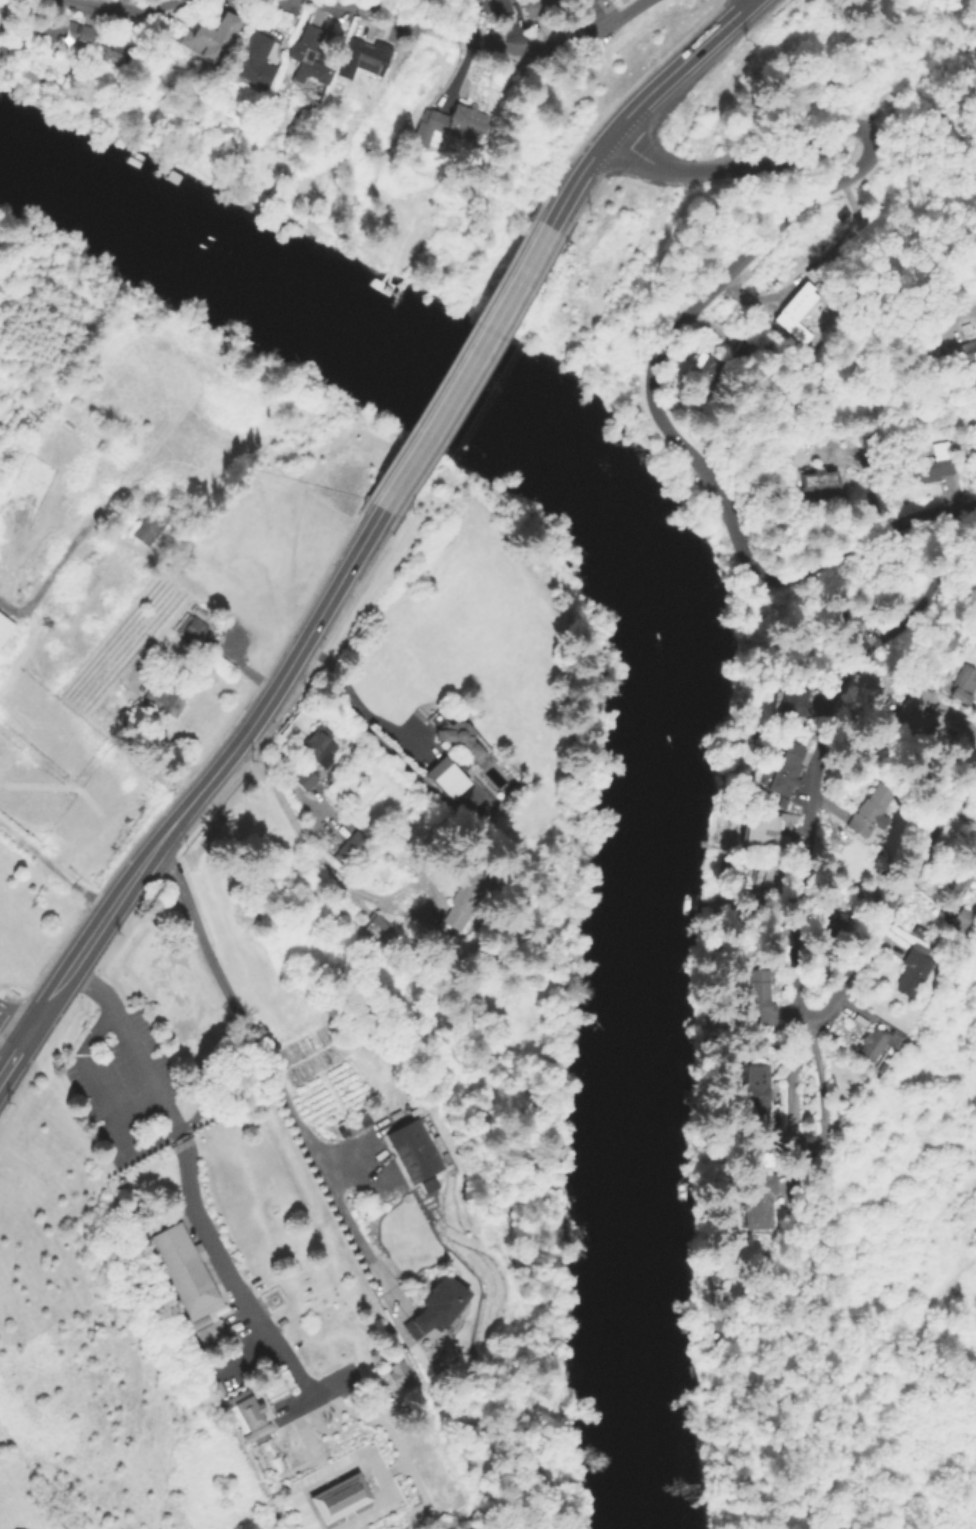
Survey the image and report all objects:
building: (474, 1)
building: (594, 1)
building: (537, 7)
building: (500, 8)
road: (124, 9)
road: (745, 9)
building: (62, 29)
building: (208, 36)
road: (487, 42)
building: (112, 52)
building: (369, 57)
building: (311, 58)
building: (254, 61)
road: (661, 85)
building: (454, 126)
road: (574, 187)
river: (290, 277)
building: (793, 313)
road: (688, 316)
building: (964, 353)
building: (741, 354)
road: (467, 370)
building: (707, 370)
building: (931, 466)
building: (816, 485)
building: (149, 526)
building: (846, 623)
building: (4, 626)
building: (192, 629)
road: (280, 685)
building: (963, 685)
building: (165, 700)
road: (354, 705)
building: (791, 705)
building: (913, 711)
building: (320, 747)
building: (458, 758)
building: (783, 778)
building: (306, 780)
building: (870, 810)
building: (762, 834)
building: (352, 849)
road: (55, 870)
road: (340, 879)
building: (765, 886)
building: (956, 888)
building: (469, 900)
road: (789, 904)
building: (958, 919)
building: (380, 930)
building: (830, 932)
road: (96, 935)
river: (655, 968)
building: (914, 970)
building: (759, 995)
road: (14, 1026)
building: (879, 1043)
road: (22, 1045)
road: (255, 1047)
road: (8, 1066)
building: (756, 1093)
road: (102, 1098)
road: (803, 1149)
building: (415, 1154)
building: (768, 1154)
road: (190, 1183)
building: (427, 1184)
building: (757, 1202)
building: (187, 1271)
building: (436, 1307)
building: (216, 1329)
building: (401, 1377)
building: (249, 1416)
building: (265, 1455)
building: (340, 1501)

